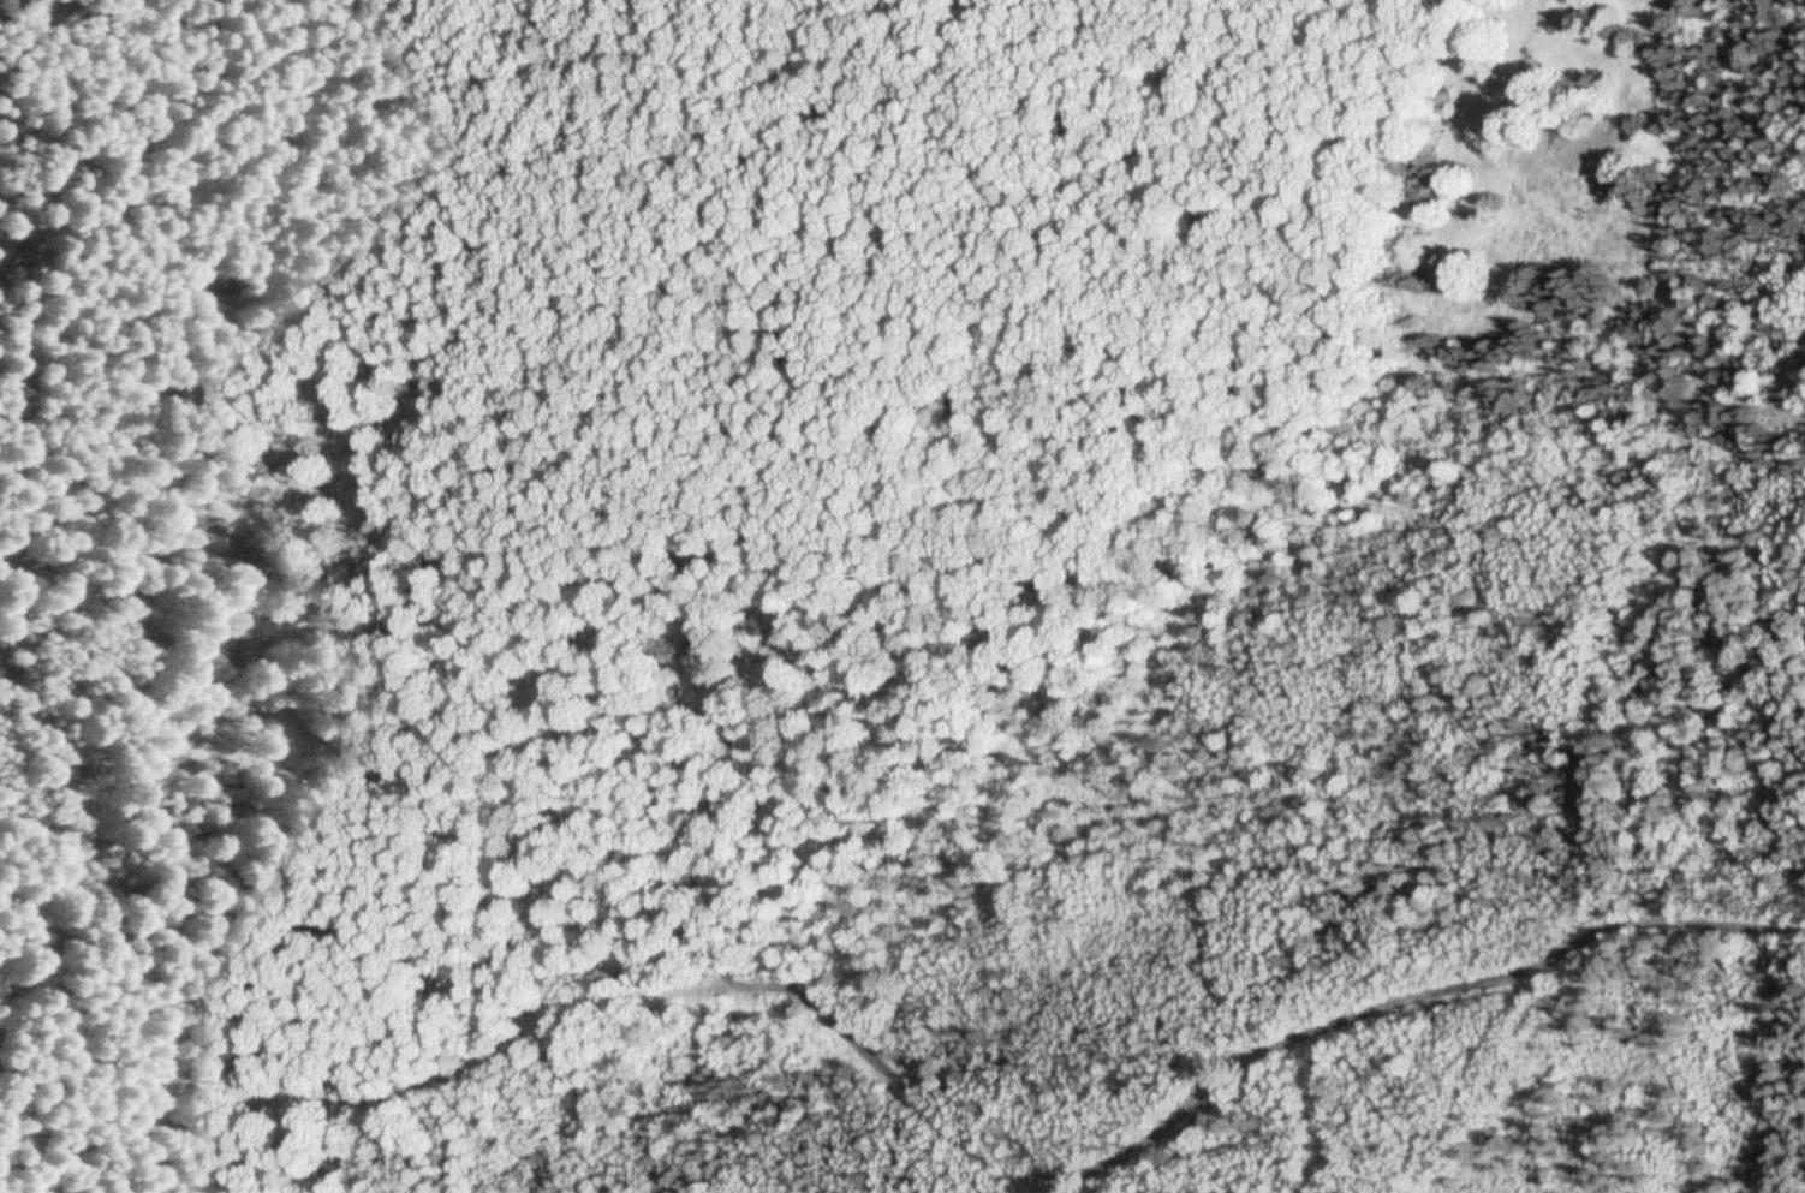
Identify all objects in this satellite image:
road: (1372, 225)

